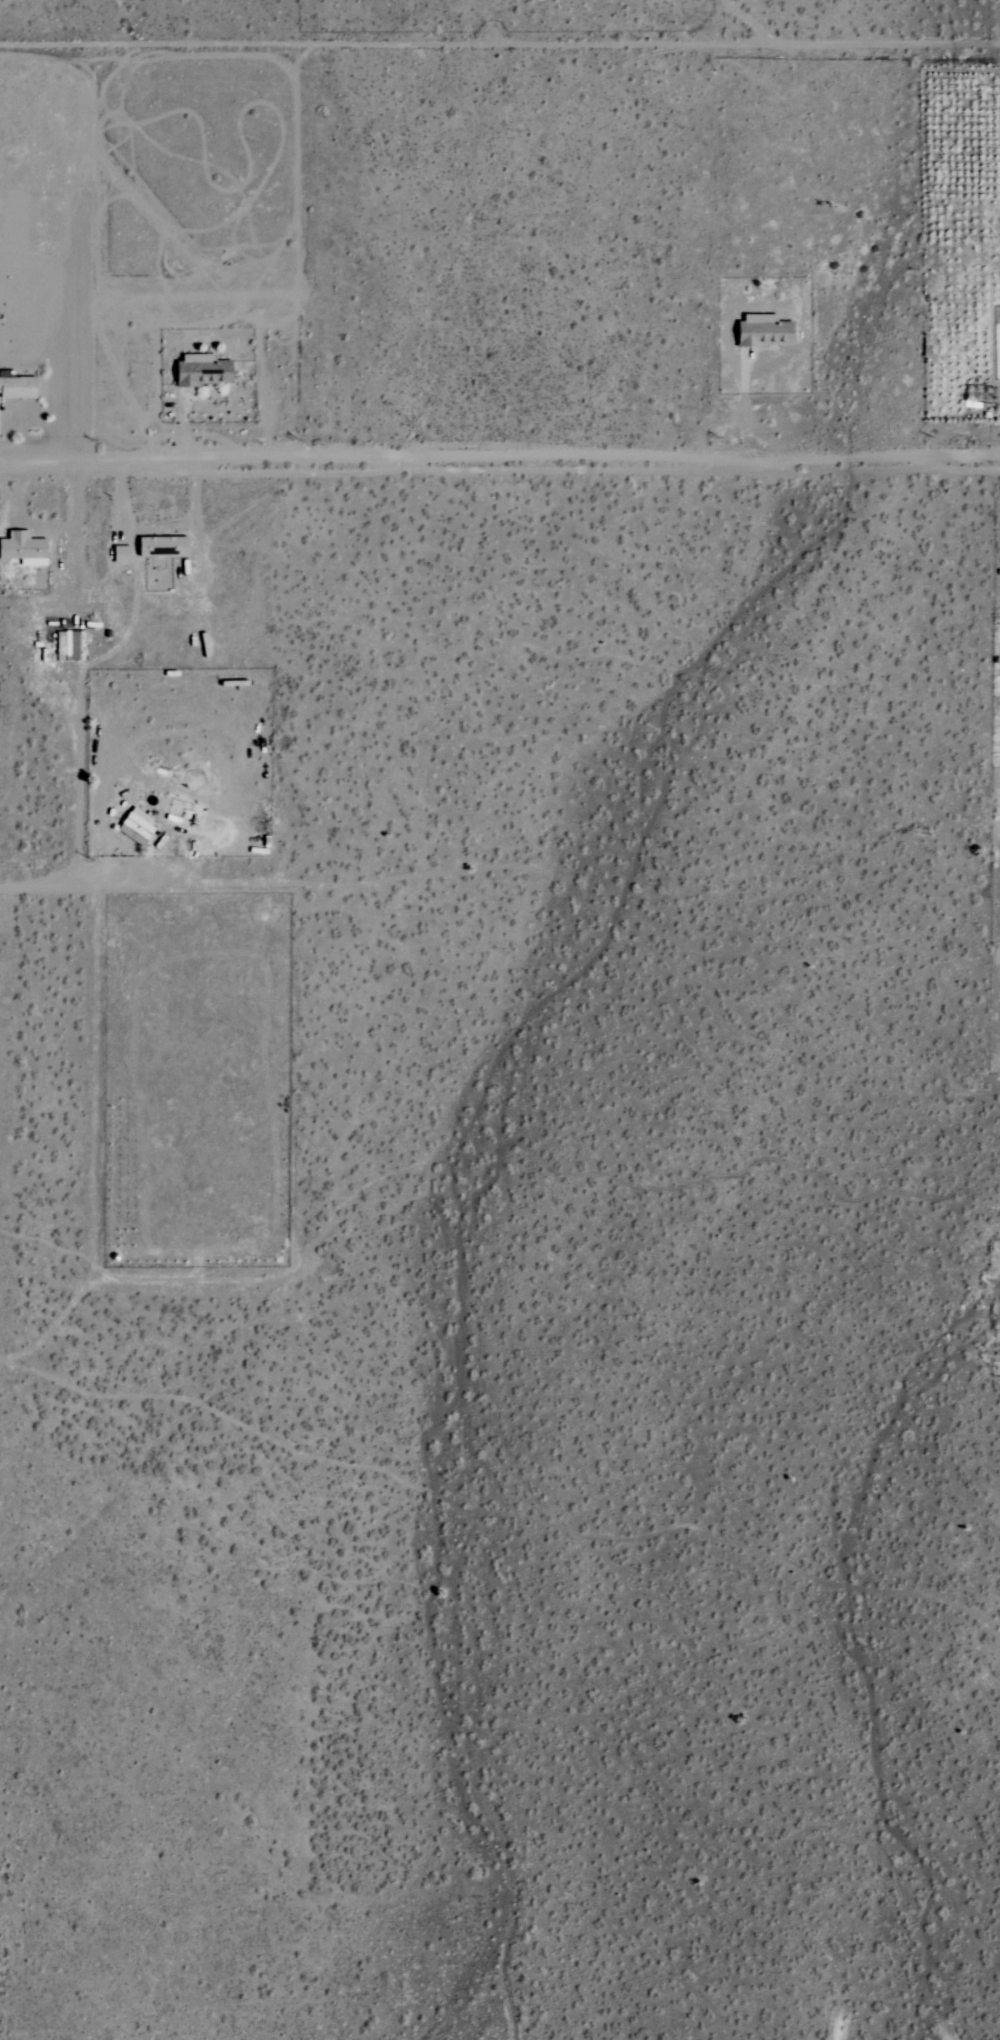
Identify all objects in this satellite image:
road: (749, 19)
road: (500, 42)
building: (761, 331)
building: (199, 370)
building: (17, 386)
road: (747, 416)
road: (188, 429)
road: (499, 463)
road: (24, 486)
road: (51, 525)
road: (158, 525)
building: (159, 546)
building: (22, 548)
building: (118, 554)
building: (64, 645)
road: (78, 726)
building: (134, 826)
road: (171, 884)
road: (33, 886)

